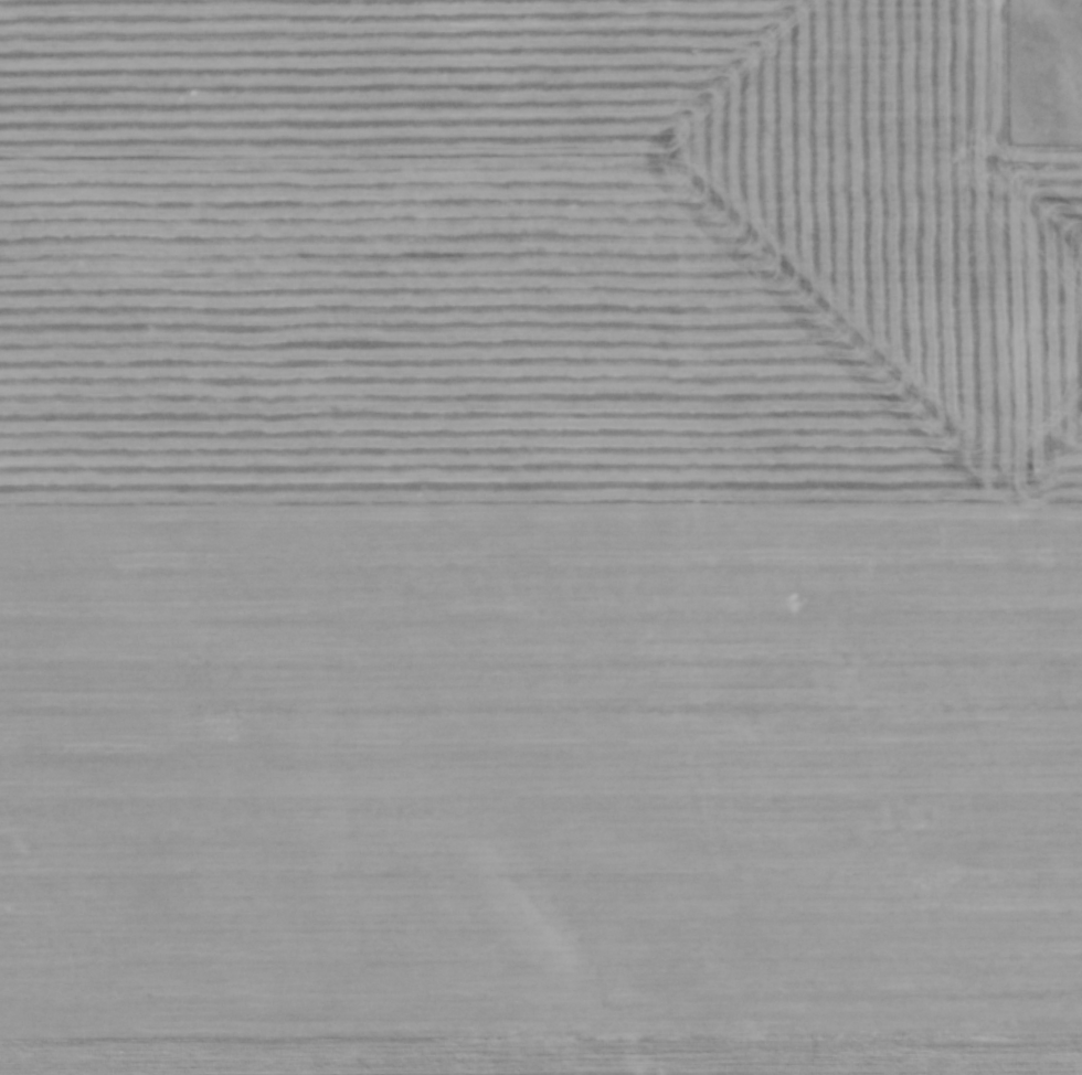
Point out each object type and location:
crop: (554, 1054)

